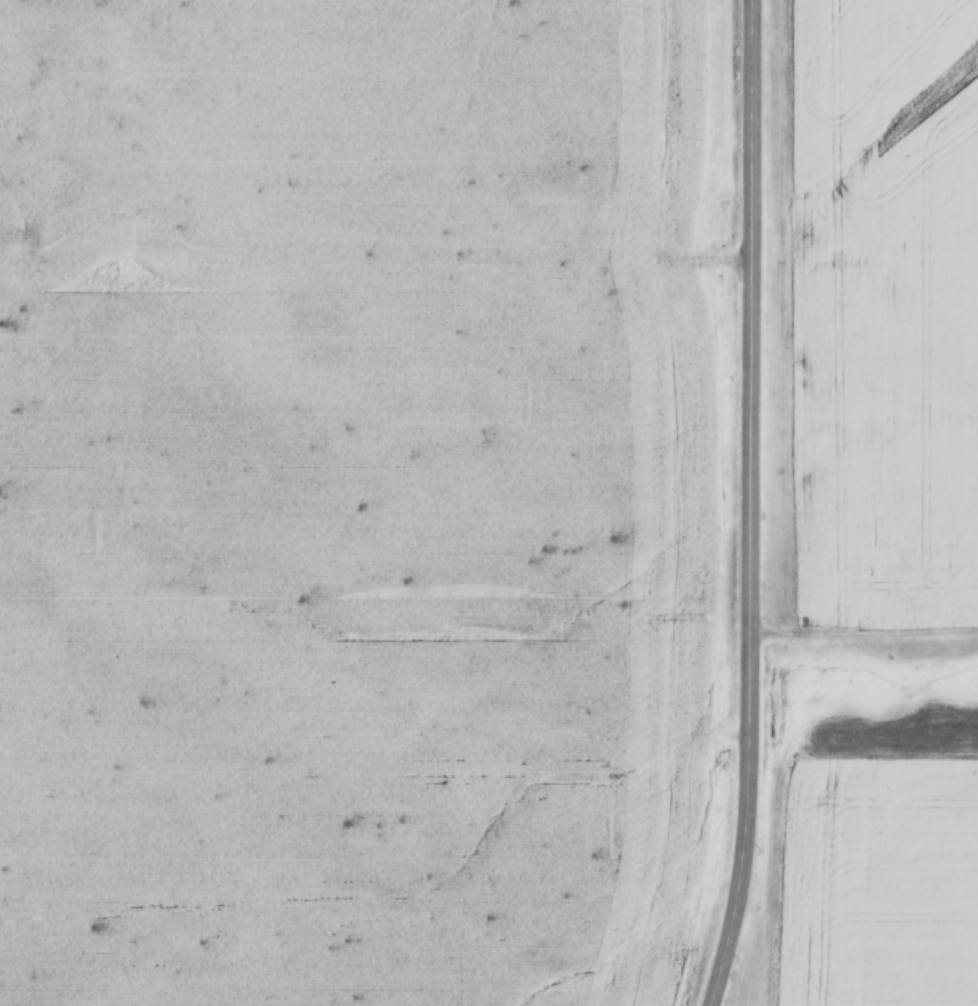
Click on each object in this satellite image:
road: (754, 504)

